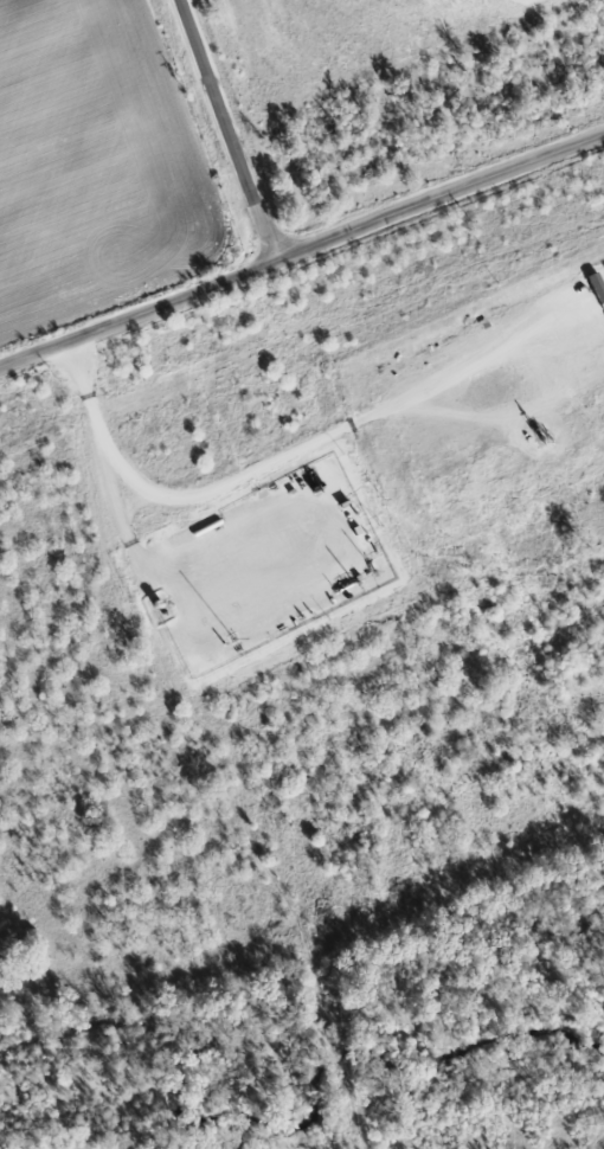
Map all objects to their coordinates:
road: (226, 130)
road: (301, 249)
building: (597, 285)
petroleum well: (539, 431)
road: (328, 435)
road: (105, 458)

